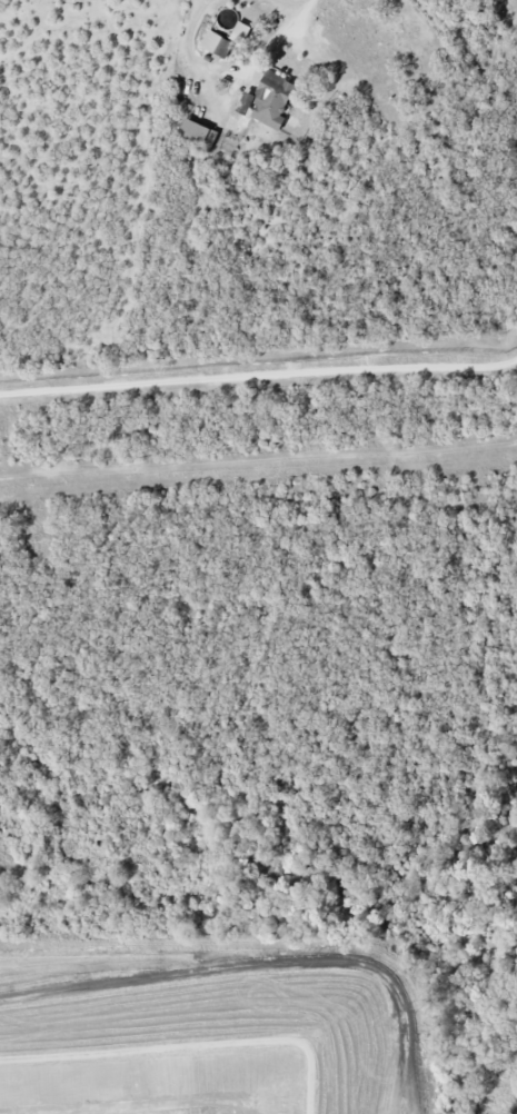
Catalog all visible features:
road: (300, 14)
building: (218, 44)
building: (270, 100)
building: (199, 133)
road: (258, 377)
road: (258, 458)
road: (262, 968)

